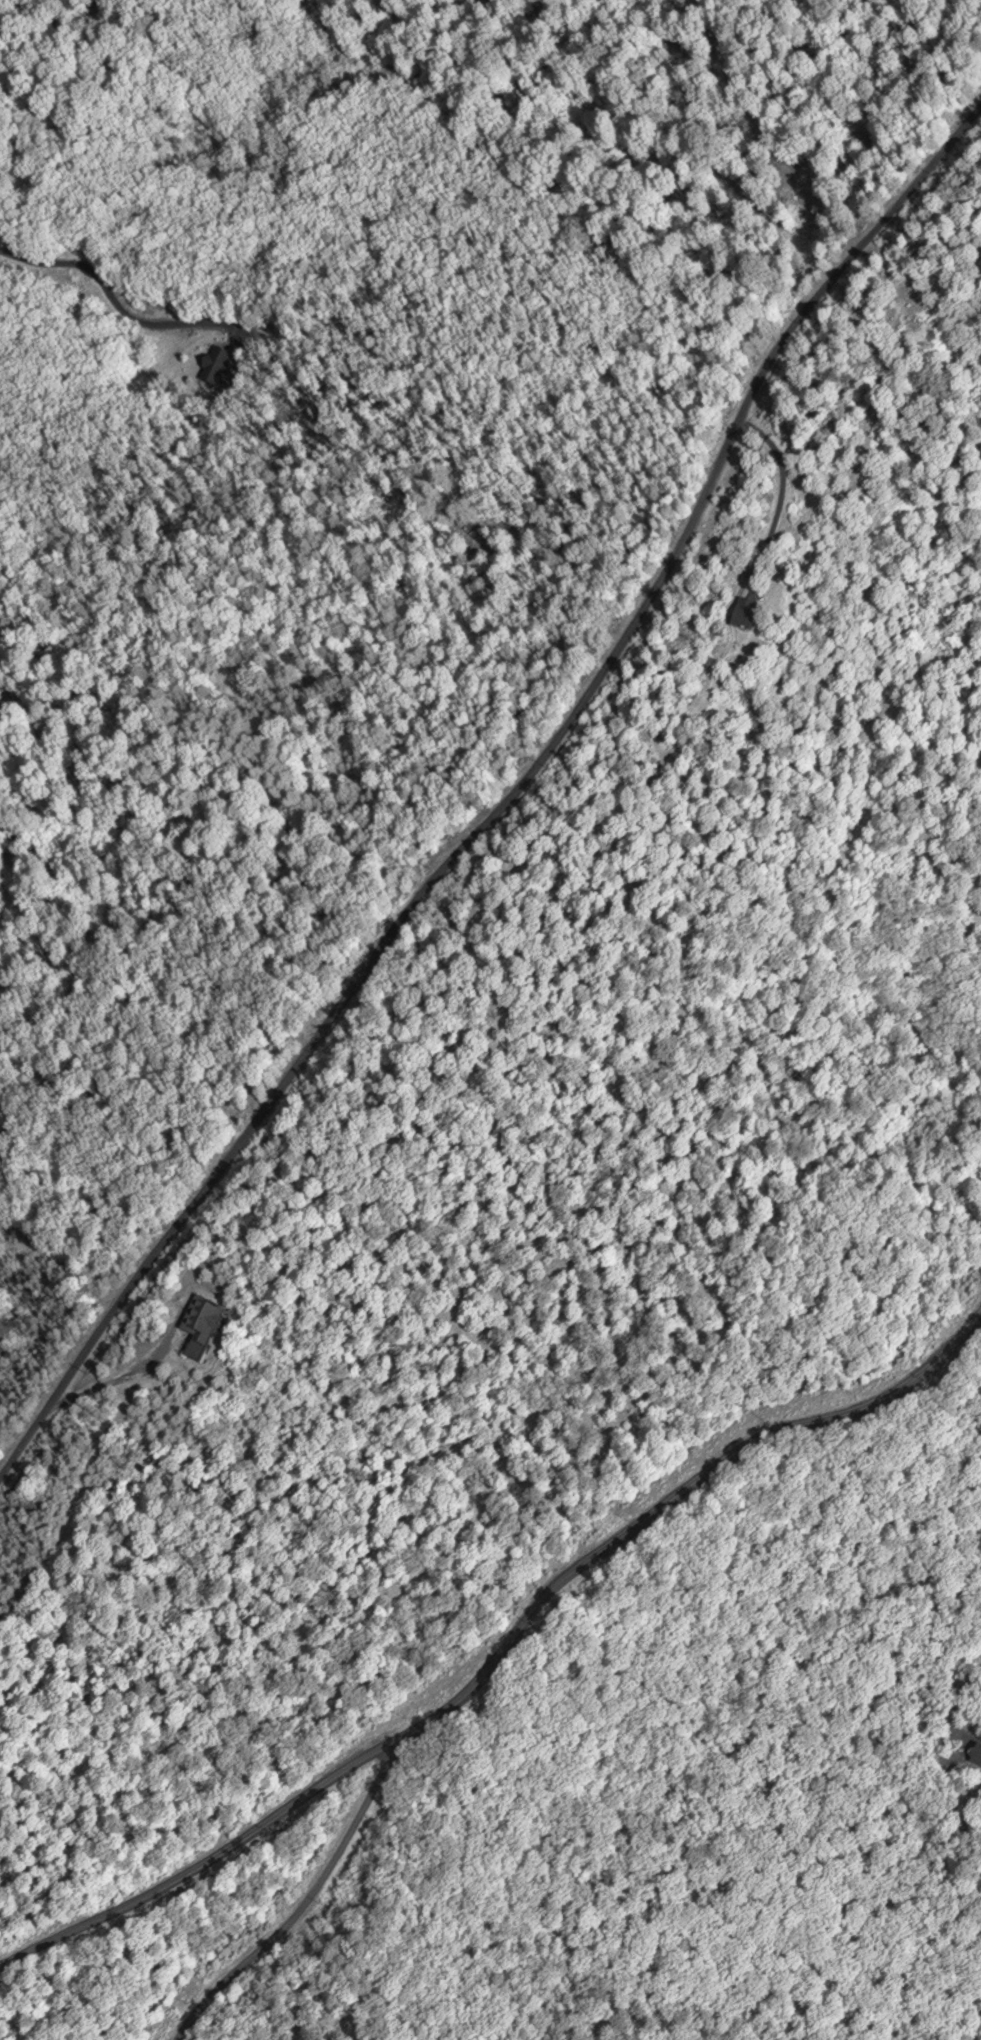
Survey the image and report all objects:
road: (106, 289)
building: (748, 616)
road: (515, 789)
building: (203, 1327)
road: (97, 1385)
road: (510, 1651)
road: (967, 1707)
building: (977, 1754)
road: (313, 1895)

